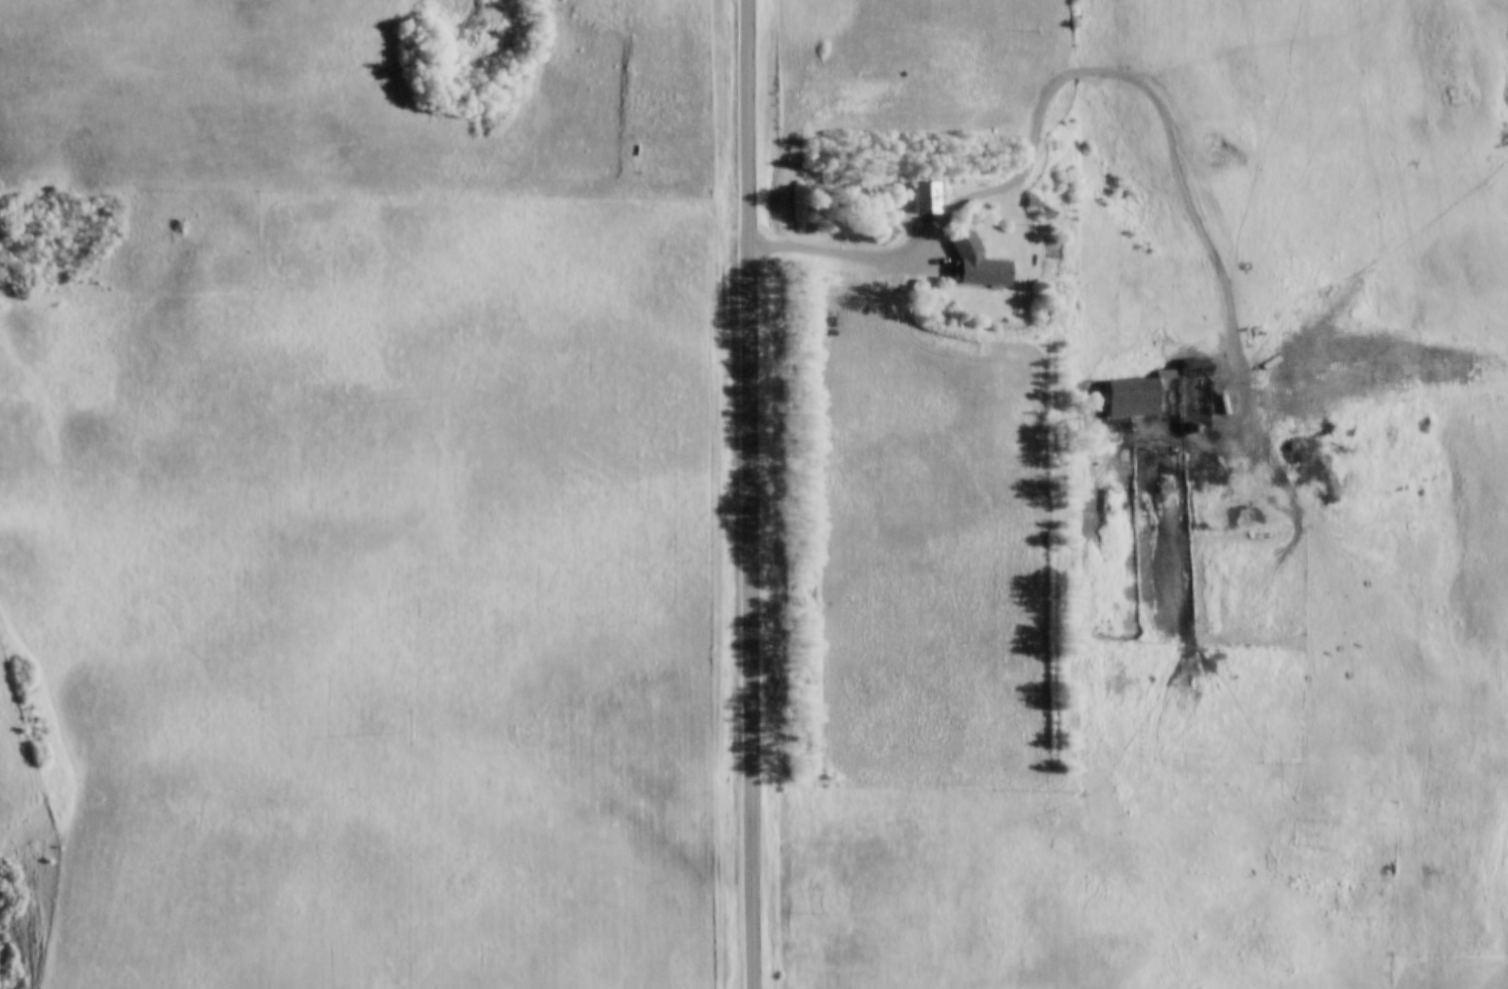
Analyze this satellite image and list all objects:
road: (1064, 71)
building: (927, 197)
building: (979, 263)
building: (1134, 397)
road: (751, 494)

